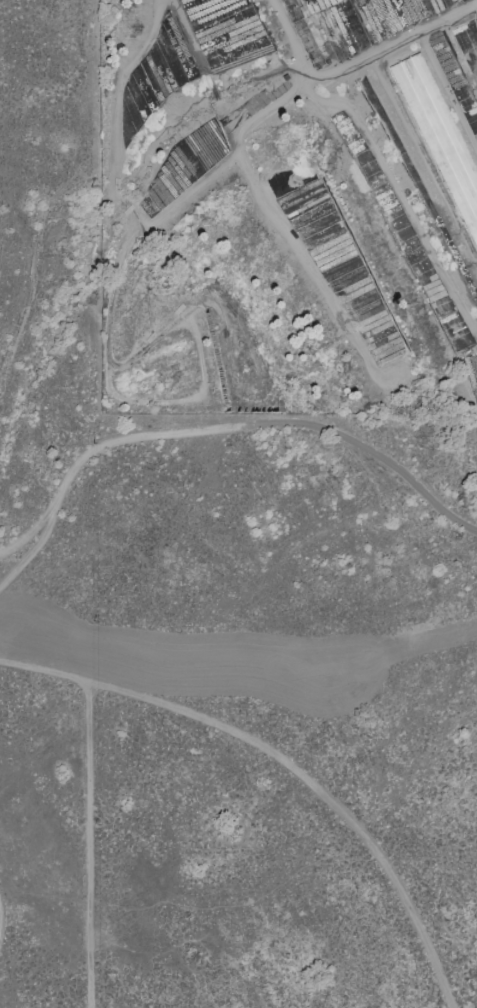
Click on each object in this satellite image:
road: (366, 448)
road: (91, 456)

